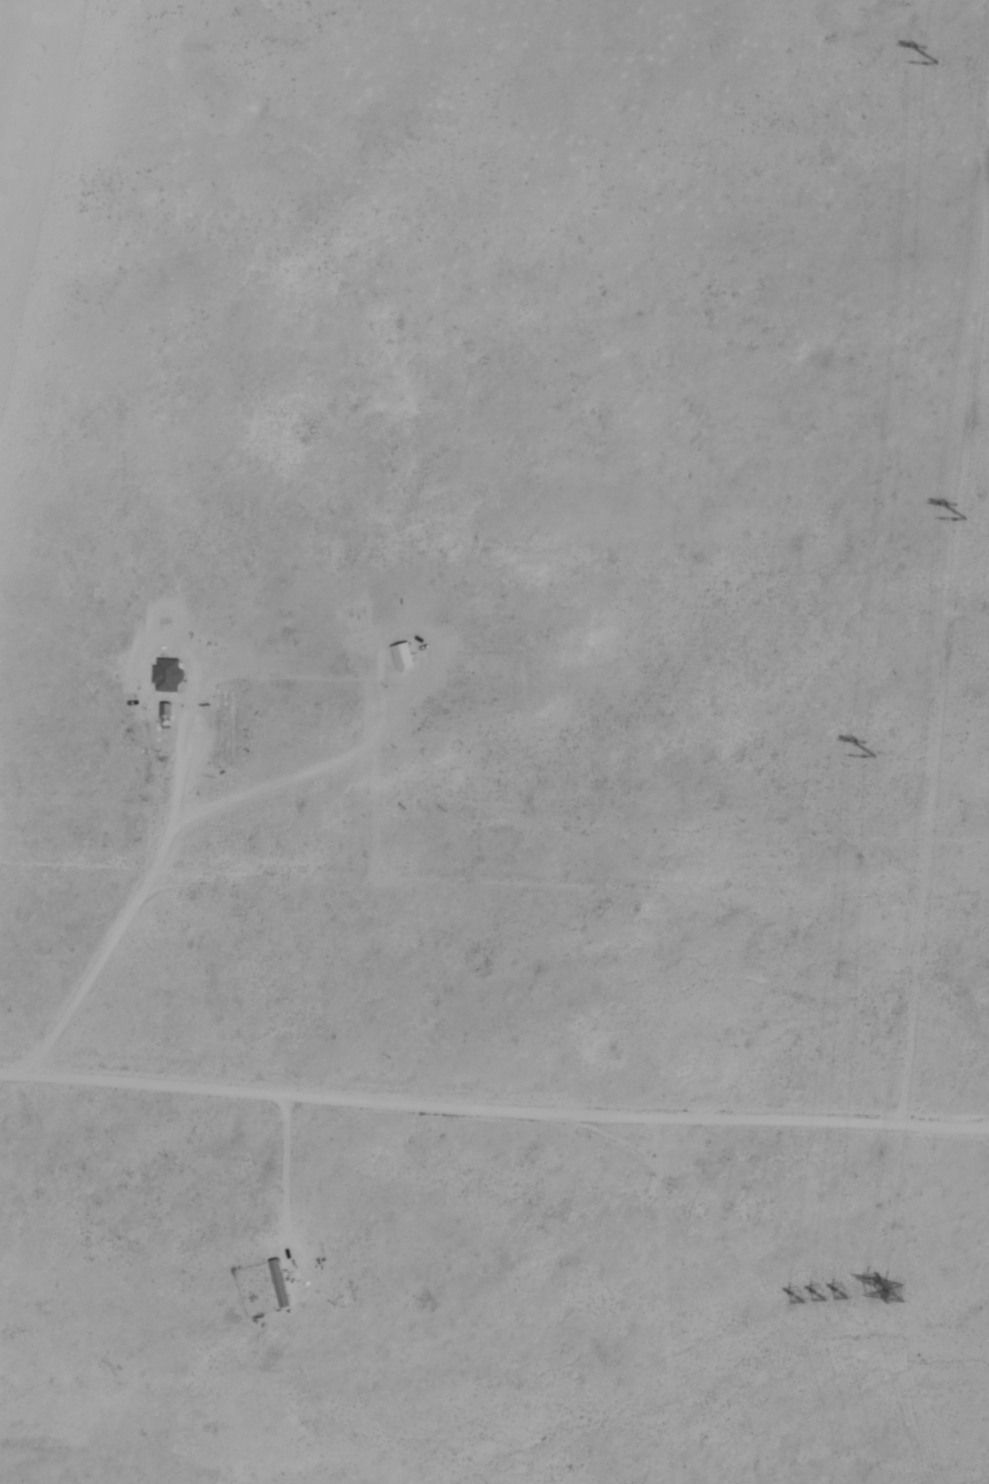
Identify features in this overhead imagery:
power tower: (938, 60)
power tower: (966, 517)
building: (168, 675)
power tower: (874, 753)
road: (129, 917)
road: (493, 1113)
power tower: (897, 1292)
power tower: (827, 1298)

